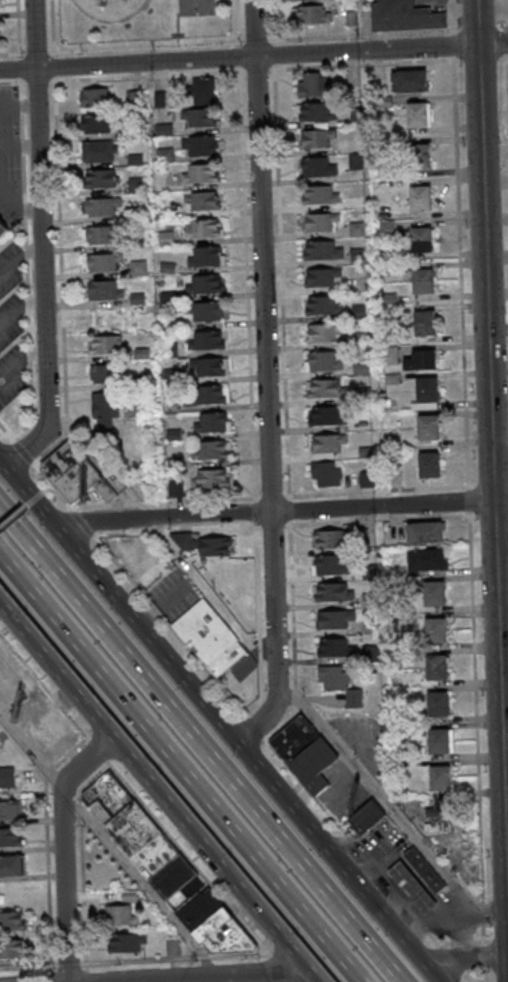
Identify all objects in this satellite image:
building: (305, 0)
building: (313, 15)
building: (405, 16)
park: (142, 22)
road: (362, 25)
road: (253, 57)
building: (410, 82)
building: (313, 84)
building: (204, 91)
building: (97, 97)
building: (133, 98)
road: (18, 105)
building: (316, 112)
building: (417, 115)
building: (358, 116)
building: (199, 119)
building: (98, 124)
building: (317, 139)
road: (18, 145)
building: (200, 147)
building: (99, 152)
building: (165, 156)
building: (420, 156)
building: (135, 159)
building: (355, 162)
building: (317, 168)
building: (201, 174)
building: (100, 179)
building: (320, 196)
building: (421, 197)
building: (202, 201)
building: (102, 207)
road: (16, 211)
building: (319, 223)
building: (1, 227)
building: (203, 229)
building: (357, 230)
building: (100, 235)
building: (422, 239)
road: (40, 243)
building: (322, 251)
building: (207, 257)
road: (19, 258)
building: (102, 263)
building: (138, 268)
building: (321, 278)
building: (423, 281)
building: (204, 284)
building: (105, 290)
road: (19, 307)
building: (323, 307)
building: (205, 312)
building: (425, 322)
building: (324, 334)
building: (207, 341)
building: (107, 346)
building: (390, 356)
building: (422, 360)
road: (20, 361)
building: (323, 362)
building: (208, 368)
building: (361, 370)
building: (106, 373)
road: (265, 379)
building: (324, 390)
building: (427, 392)
building: (207, 396)
building: (104, 413)
building: (327, 417)
building: (212, 424)
building: (428, 427)
building: (326, 445)
building: (211, 451)
building: (430, 464)
road: (3, 465)
road: (491, 467)
building: (74, 475)
building: (326, 476)
building: (211, 480)
road: (19, 484)
road: (467, 491)
road: (40, 492)
road: (29, 502)
road: (280, 511)
road: (13, 515)
building: (425, 533)
building: (331, 539)
building: (202, 546)
building: (427, 560)
building: (330, 564)
building: (155, 573)
building: (333, 592)
building: (435, 593)
building: (335, 619)
building: (436, 630)
building: (210, 639)
building: (336, 647)
building: (437, 667)
building: (340, 684)
building: (438, 704)
road: (235, 741)
building: (441, 741)
road: (200, 747)
building: (305, 754)
road: (31, 756)
road: (179, 776)
building: (5, 777)
building: (440, 779)
road: (159, 793)
building: (105, 795)
road: (390, 806)
building: (9, 809)
road: (145, 809)
building: (434, 814)
building: (364, 819)
building: (130, 828)
building: (9, 837)
road: (63, 849)
building: (154, 852)
building: (9, 864)
building: (422, 869)
road: (363, 872)
building: (170, 876)
road: (392, 885)
road: (142, 886)
building: (410, 886)
building: (189, 887)
road: (390, 903)
building: (195, 909)
building: (118, 915)
building: (10, 921)
building: (210, 924)
road: (413, 930)
road: (463, 931)
building: (227, 939)
building: (125, 942)
building: (172, 947)
building: (12, 949)
road: (463, 958)
road: (297, 972)
road: (209, 976)

